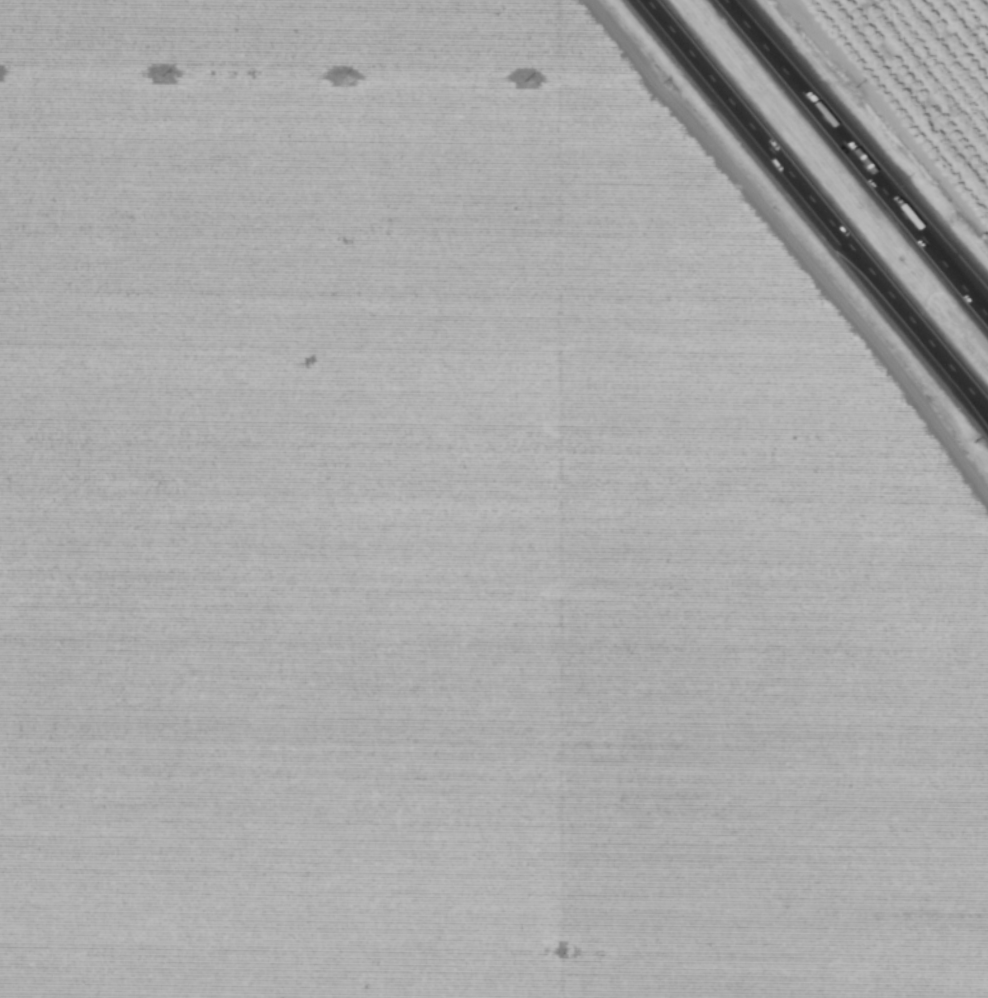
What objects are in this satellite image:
road: (852, 154)
road: (815, 205)
road: (984, 311)
road: (984, 312)
road: (987, 411)
road: (987, 411)

